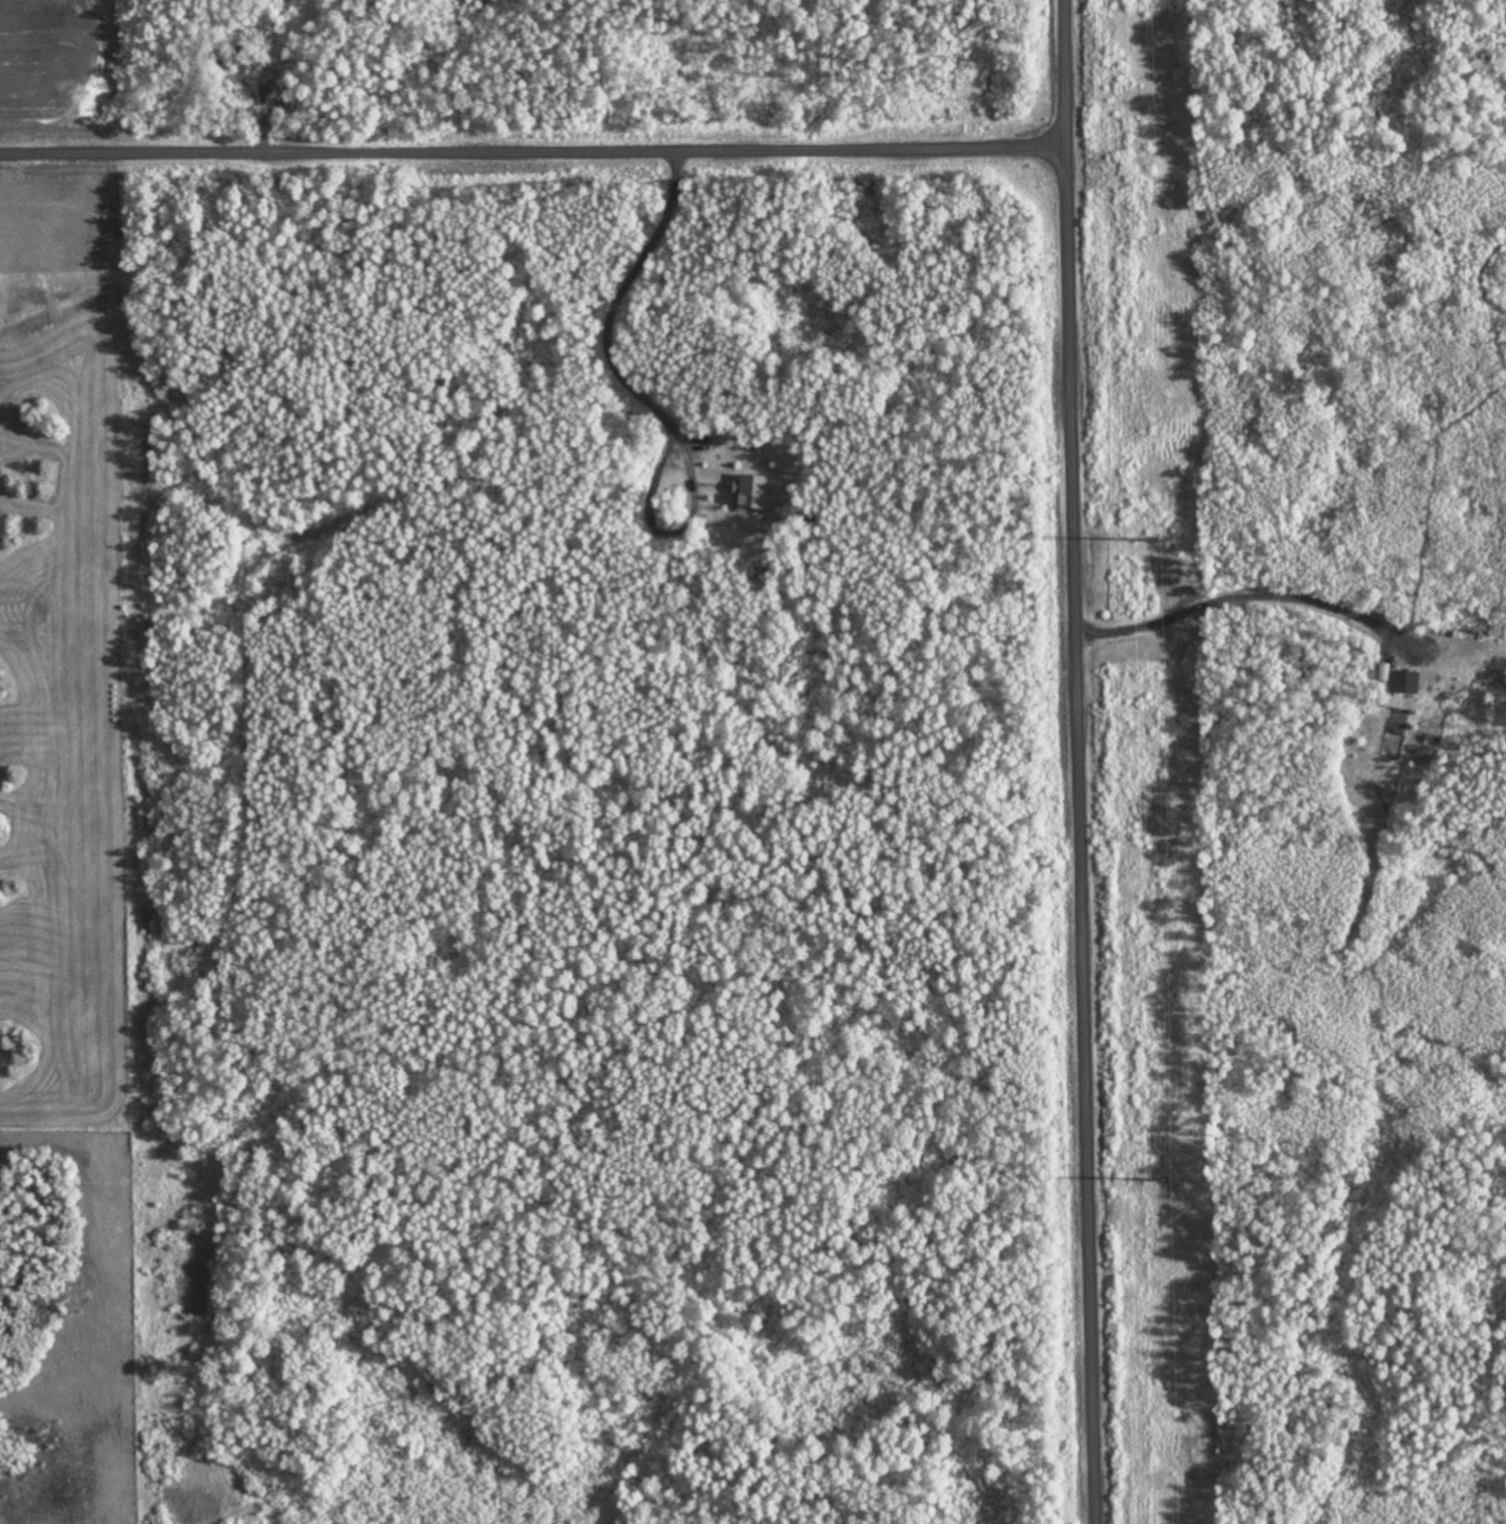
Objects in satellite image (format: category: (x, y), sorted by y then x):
road: (536, 142)
building: (751, 493)
power tower: (1154, 538)
building: (1405, 683)
road: (1086, 762)
power tower: (1165, 1179)

